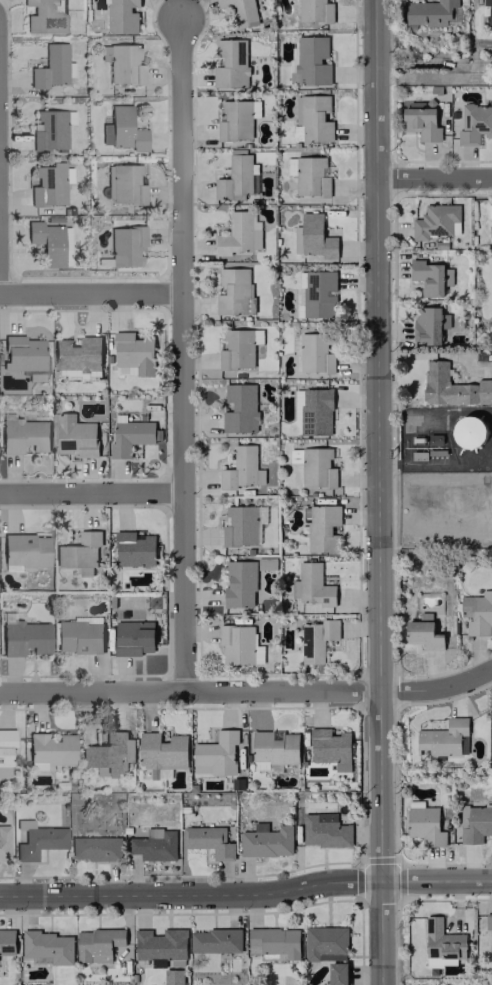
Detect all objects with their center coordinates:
building: (315, 11)
building: (487, 11)
building: (241, 12)
building: (429, 12)
building: (44, 16)
building: (122, 16)
building: (489, 30)
building: (312, 60)
building: (123, 63)
building: (230, 63)
building: (50, 67)
building: (236, 118)
building: (315, 118)
building: (422, 121)
building: (474, 124)
building: (297, 125)
building: (50, 129)
building: (125, 129)
building: (311, 176)
building: (237, 178)
road: (433, 178)
building: (48, 184)
building: (126, 184)
building: (437, 221)
building: (239, 233)
building: (316, 237)
building: (47, 242)
building: (126, 246)
building: (427, 277)
building: (234, 290)
road: (90, 293)
building: (316, 293)
building: (429, 324)
building: (237, 349)
road: (180, 353)
building: (315, 353)
building: (133, 354)
building: (23, 356)
building: (77, 357)
building: (452, 386)
building: (240, 408)
building: (315, 411)
building: (407, 422)
building: (469, 431)
storage tank: (469, 431)
building: (23, 435)
building: (75, 436)
building: (129, 436)
road: (434, 462)
building: (317, 468)
building: (241, 469)
road: (91, 492)
road: (377, 492)
building: (243, 525)
building: (322, 527)
building: (134, 549)
building: (24, 551)
building: (79, 551)
building: (239, 584)
building: (312, 585)
building: (477, 613)
building: (423, 632)
building: (24, 637)
building: (78, 637)
building: (133, 637)
building: (316, 639)
building: (239, 645)
road: (248, 691)
building: (445, 738)
building: (5, 745)
building: (329, 745)
building: (50, 749)
building: (275, 749)
building: (161, 753)
building: (215, 753)
building: (108, 754)
building: (476, 824)
building: (425, 825)
building: (324, 830)
building: (38, 840)
building: (208, 840)
building: (265, 840)
building: (3, 843)
building: (94, 848)
road: (246, 893)
building: (489, 926)
building: (215, 940)
building: (442, 940)
building: (7, 941)
building: (274, 942)
building: (325, 943)
building: (97, 944)
building: (160, 945)
building: (47, 947)
building: (337, 973)

